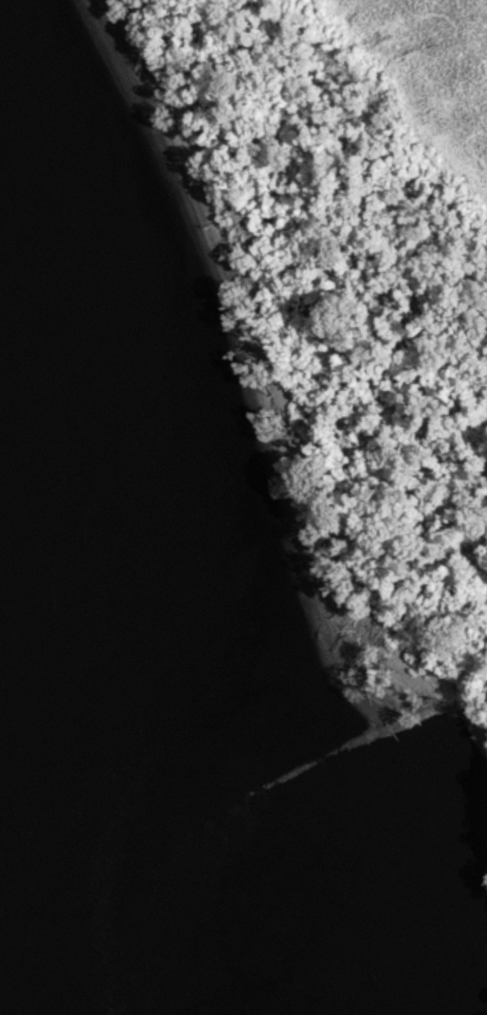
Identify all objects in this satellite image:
crop: (432, 79)

